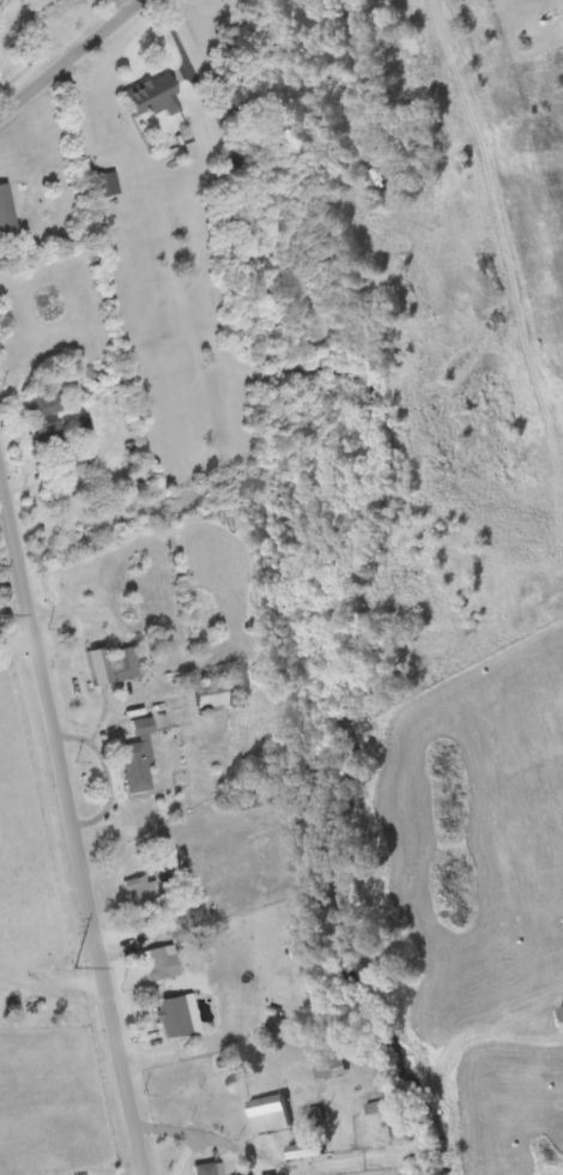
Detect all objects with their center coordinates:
building: (406, 44)
road: (71, 60)
building: (153, 94)
building: (96, 183)
building: (6, 209)
building: (44, 403)
building: (49, 432)
building: (72, 464)
building: (66, 499)
building: (73, 529)
road: (18, 645)
building: (113, 662)
building: (211, 691)
building: (139, 757)
building: (255, 796)
road: (66, 809)
building: (141, 891)
building: (161, 960)
building: (175, 1013)
building: (329, 1063)
building: (268, 1111)
building: (304, 1149)
building: (207, 1168)
building: (267, 1174)

